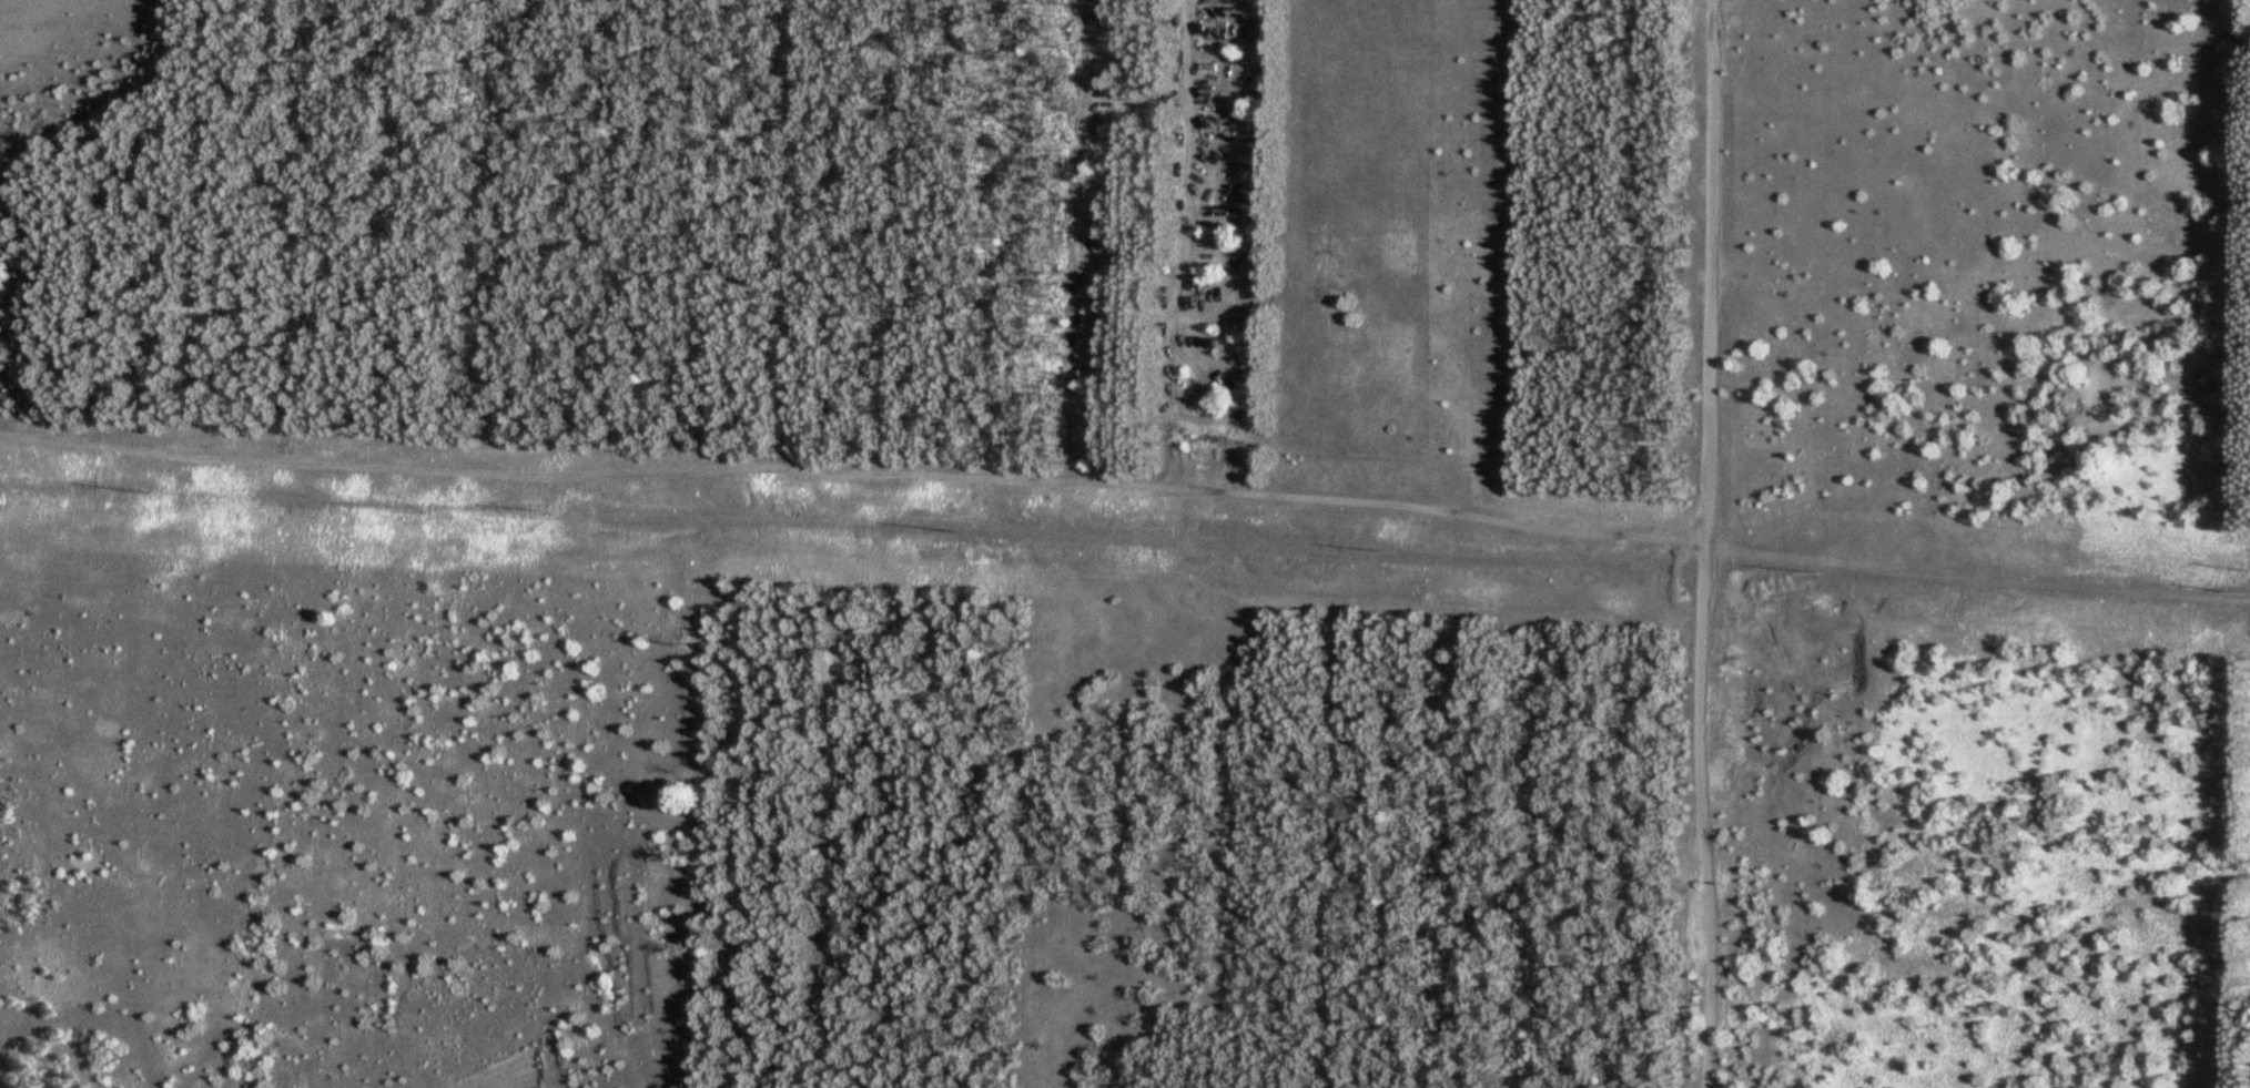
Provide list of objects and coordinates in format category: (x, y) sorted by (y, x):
road: (1184, 248)
road: (852, 472)
road: (1703, 543)
quarry: (617, 979)

